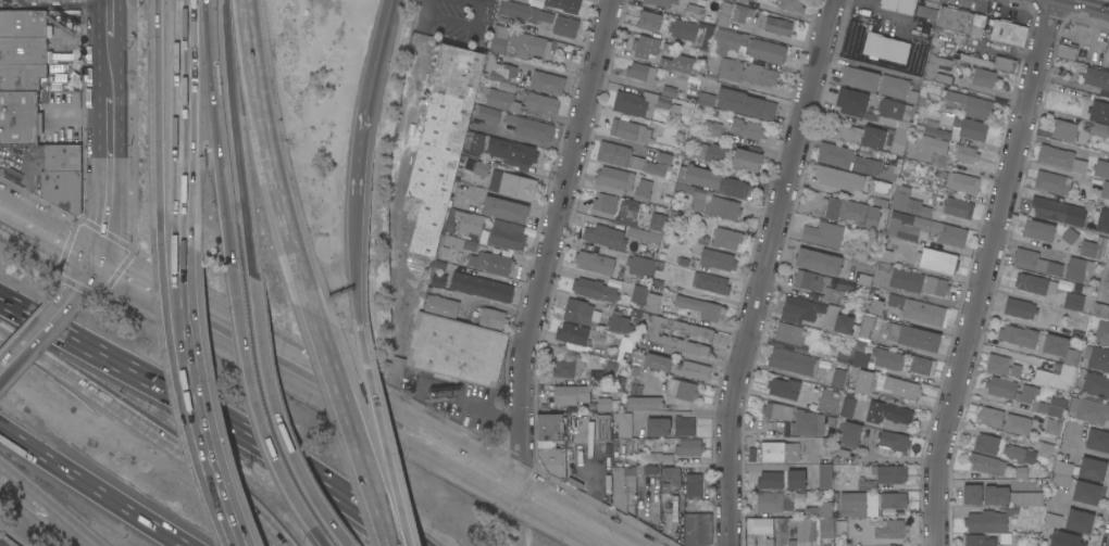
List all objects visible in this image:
building: (20, 0)
building: (749, 0)
building: (36, 1)
building: (730, 1)
building: (660, 2)
road: (62, 5)
building: (559, 5)
building: (790, 5)
building: (898, 5)
building: (926, 9)
building: (693, 12)
building: (527, 13)
building: (740, 13)
building: (723, 14)
building: (955, 18)
road: (111, 20)
building: (648, 21)
building: (24, 24)
road: (456, 25)
building: (775, 25)
building: (565, 27)
building: (691, 33)
building: (1007, 33)
building: (498, 38)
road: (84, 39)
building: (527, 45)
building: (646, 46)
building: (745, 48)
building: (885, 48)
building: (24, 50)
building: (1066, 51)
building: (712, 60)
building: (994, 63)
building: (681, 64)
road: (111, 67)
building: (931, 68)
building: (499, 69)
building: (641, 73)
building: (747, 73)
road: (89, 74)
building: (21, 76)
building: (983, 77)
building: (859, 78)
building: (1096, 78)
building: (546, 82)
road: (370, 87)
building: (506, 87)
building: (893, 87)
building: (672, 92)
building: (911, 97)
building: (705, 99)
building: (519, 102)
building: (851, 102)
building: (639, 103)
building: (745, 104)
building: (969, 105)
building: (1099, 112)
building: (486, 113)
building: (893, 114)
road: (80, 115)
building: (18, 117)
building: (946, 119)
road: (162, 122)
road: (188, 122)
building: (529, 128)
building: (712, 128)
building: (746, 129)
building: (955, 129)
building: (1063, 130)
building: (1099, 130)
building: (631, 131)
building: (665, 131)
road: (215, 132)
building: (844, 132)
building: (873, 137)
road: (238, 139)
building: (693, 139)
building: (474, 141)
building: (898, 142)
road: (403, 144)
building: (439, 145)
building: (924, 148)
building: (511, 153)
building: (710, 153)
building: (612, 154)
building: (965, 154)
building: (834, 155)
road: (267, 156)
building: (61, 157)
building: (1060, 158)
building: (746, 160)
building: (635, 163)
building: (659, 165)
building: (865, 165)
building: (478, 168)
building: (1101, 168)
building: (888, 173)
building: (12, 175)
road: (108, 177)
building: (939, 177)
building: (838, 179)
building: (612, 180)
building: (710, 180)
building: (961, 182)
building: (1050, 182)
building: (512, 185)
building: (879, 186)
building: (62, 190)
building: (641, 190)
building: (1105, 190)
building: (709, 202)
building: (880, 202)
building: (910, 204)
building: (618, 208)
building: (958, 208)
building: (504, 209)
building: (1057, 211)
building: (852, 213)
building: (1102, 220)
building: (463, 223)
building: (656, 223)
building: (924, 229)
building: (1038, 230)
road: (49, 231)
building: (606, 234)
building: (643, 234)
building: (823, 234)
building: (507, 236)
building: (1069, 236)
building: (725, 238)
road: (550, 241)
building: (470, 245)
building: (1093, 247)
road: (351, 254)
traffic signals: (98, 257)
building: (717, 259)
building: (937, 261)
building: (593, 262)
building: (682, 262)
building: (818, 262)
building: (490, 263)
building: (1034, 263)
building: (640, 268)
building: (1076, 269)
road: (765, 270)
road: (985, 271)
road: (90, 272)
road: (180, 274)
road: (186, 274)
building: (881, 274)
building: (856, 277)
building: (809, 280)
building: (906, 280)
building: (438, 281)
building: (710, 282)
building: (935, 285)
building: (1108, 285)
building: (481, 288)
building: (594, 290)
road: (163, 292)
building: (1052, 292)
building: (638, 294)
building: (833, 296)
road: (11, 303)
building: (651, 303)
road: (496, 305)
building: (440, 306)
building: (874, 306)
building: (699, 307)
building: (1019, 308)
building: (917, 309)
building: (803, 310)
building: (1100, 310)
building: (577, 312)
building: (489, 318)
road: (46, 322)
building: (620, 323)
building: (843, 325)
building: (865, 327)
road: (41, 331)
road: (0, 332)
building: (1101, 332)
building: (572, 333)
building: (788, 333)
building: (701, 334)
building: (1018, 335)
building: (600, 337)
building: (912, 337)
building: (625, 344)
road: (26, 350)
building: (456, 350)
building: (1060, 350)
building: (859, 355)
building: (844, 356)
building: (1097, 358)
building: (887, 359)
road: (116, 361)
building: (607, 361)
building: (650, 361)
building: (997, 364)
building: (921, 366)
building: (808, 367)
building: (565, 368)
building: (690, 369)
building: (1014, 370)
building: (596, 378)
building: (1055, 378)
building: (863, 382)
building: (1095, 384)
building: (1000, 386)
building: (635, 388)
building: (901, 388)
building: (783, 389)
road: (200, 390)
building: (681, 390)
road: (454, 392)
building: (1025, 394)
building: (570, 395)
road: (346, 399)
building: (827, 402)
building: (644, 403)
building: (603, 405)
building: (847, 406)
building: (1052, 406)
road: (371, 410)
building: (776, 411)
building: (1089, 411)
building: (887, 412)
road: (256, 414)
road: (279, 420)
building: (1004, 420)
building: (623, 422)
building: (807, 423)
building: (602, 427)
building: (657, 427)
building: (683, 427)
building: (1052, 427)
building: (1072, 428)
building: (548, 430)
building: (849, 434)
building: (869, 435)
road: (426, 436)
building: (1097, 441)
building: (826, 442)
building: (892, 443)
building: (985, 444)
building: (688, 447)
road: (173, 448)
building: (1046, 449)
building: (778, 452)
building: (842, 453)
building: (1019, 454)
building: (659, 458)
road: (292, 461)
building: (552, 461)
building: (986, 465)
building: (1092, 469)
building: (646, 470)
building: (1020, 472)
building: (1061, 473)
building: (888, 474)
building: (824, 478)
building: (795, 479)
building: (670, 480)
building: (770, 480)
building: (864, 483)
building: (693, 485)
road: (94, 486)
building: (622, 486)
building: (1086, 493)
building: (971, 494)
building: (800, 495)
building: (995, 495)
building: (869, 503)
building: (789, 506)
road: (48, 507)
road: (236, 509)
building: (1011, 511)
road: (390, 518)
building: (1051, 520)
building: (1079, 521)
building: (758, 525)
building: (887, 529)
building: (696, 530)
building: (826, 530)
building: (807, 531)
building: (1063, 538)
building: (977, 541)
road: (286, 545)
building: (826, 545)

